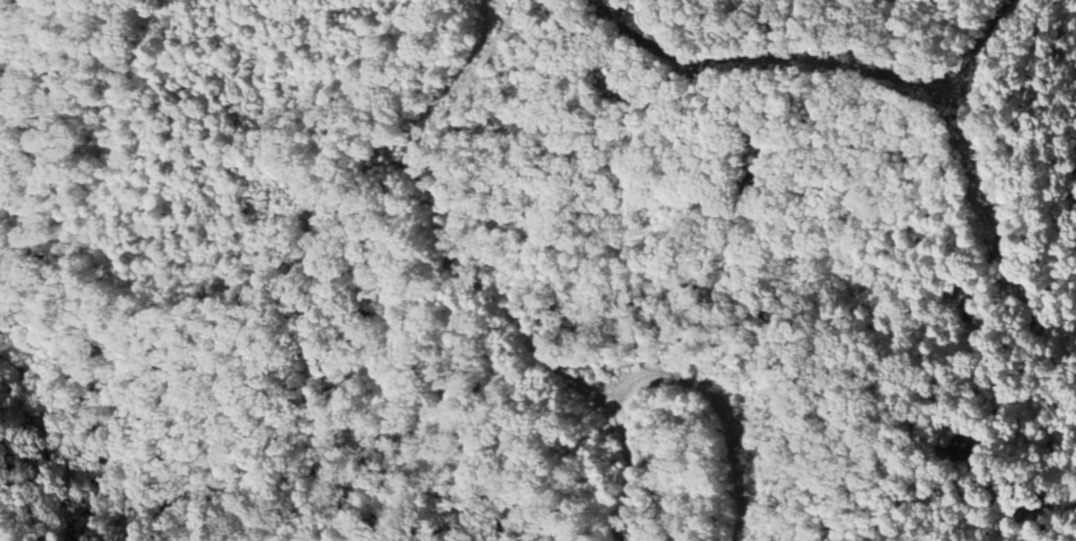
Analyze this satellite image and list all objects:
road: (811, 59)
road: (987, 179)
road: (643, 377)

